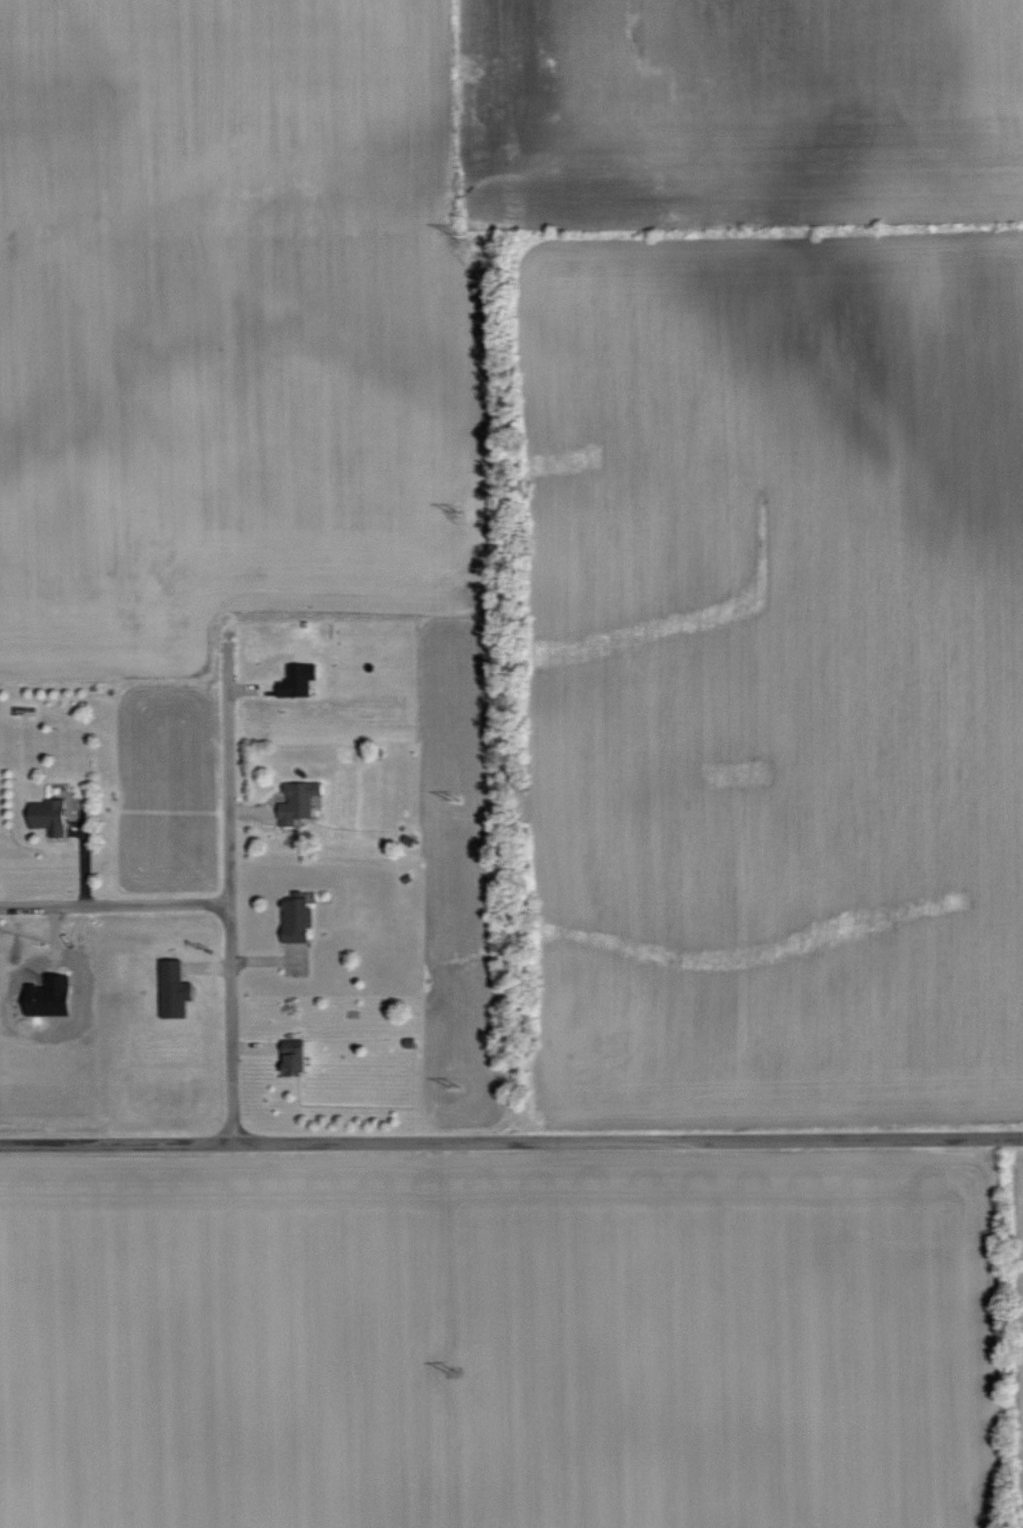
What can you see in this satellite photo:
building: (300, 680)
building: (299, 802)
building: (48, 817)
road: (230, 888)
road: (115, 905)
road: (511, 1141)

